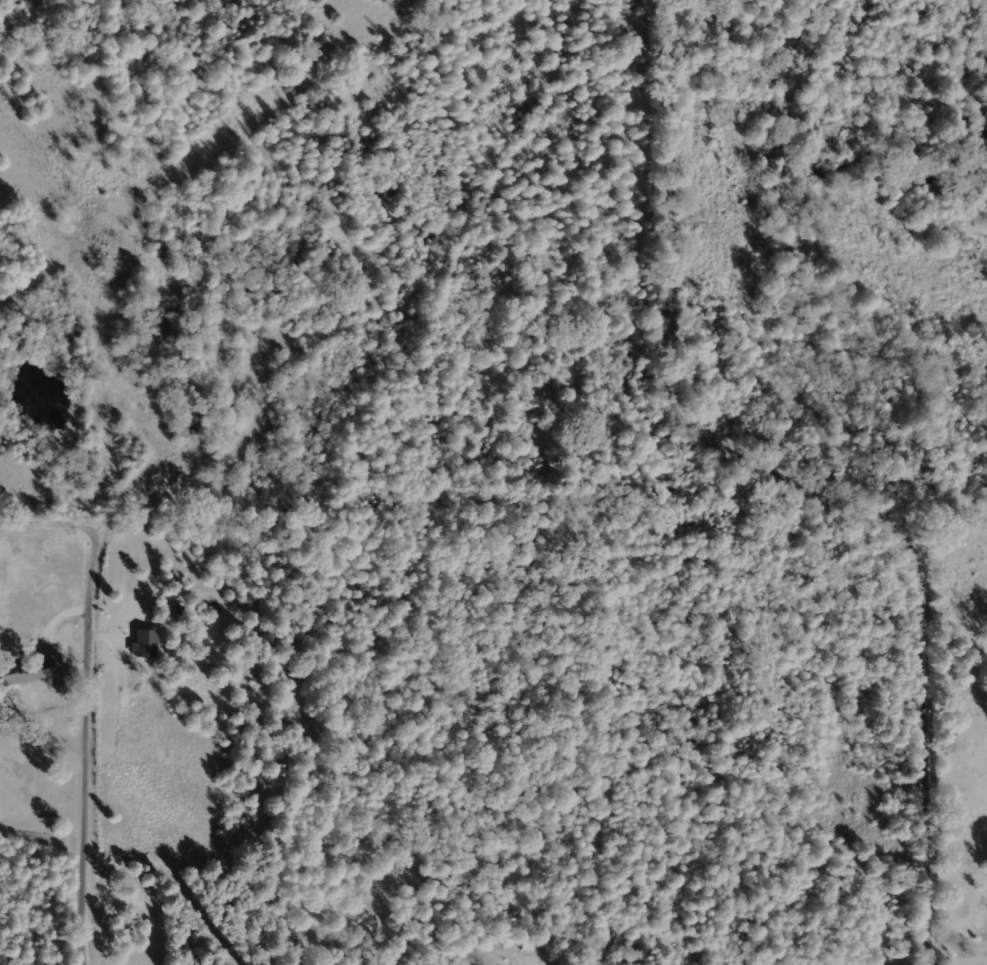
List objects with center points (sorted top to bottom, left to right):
road: (811, 479)
building: (144, 643)
building: (30, 670)
road: (95, 752)

